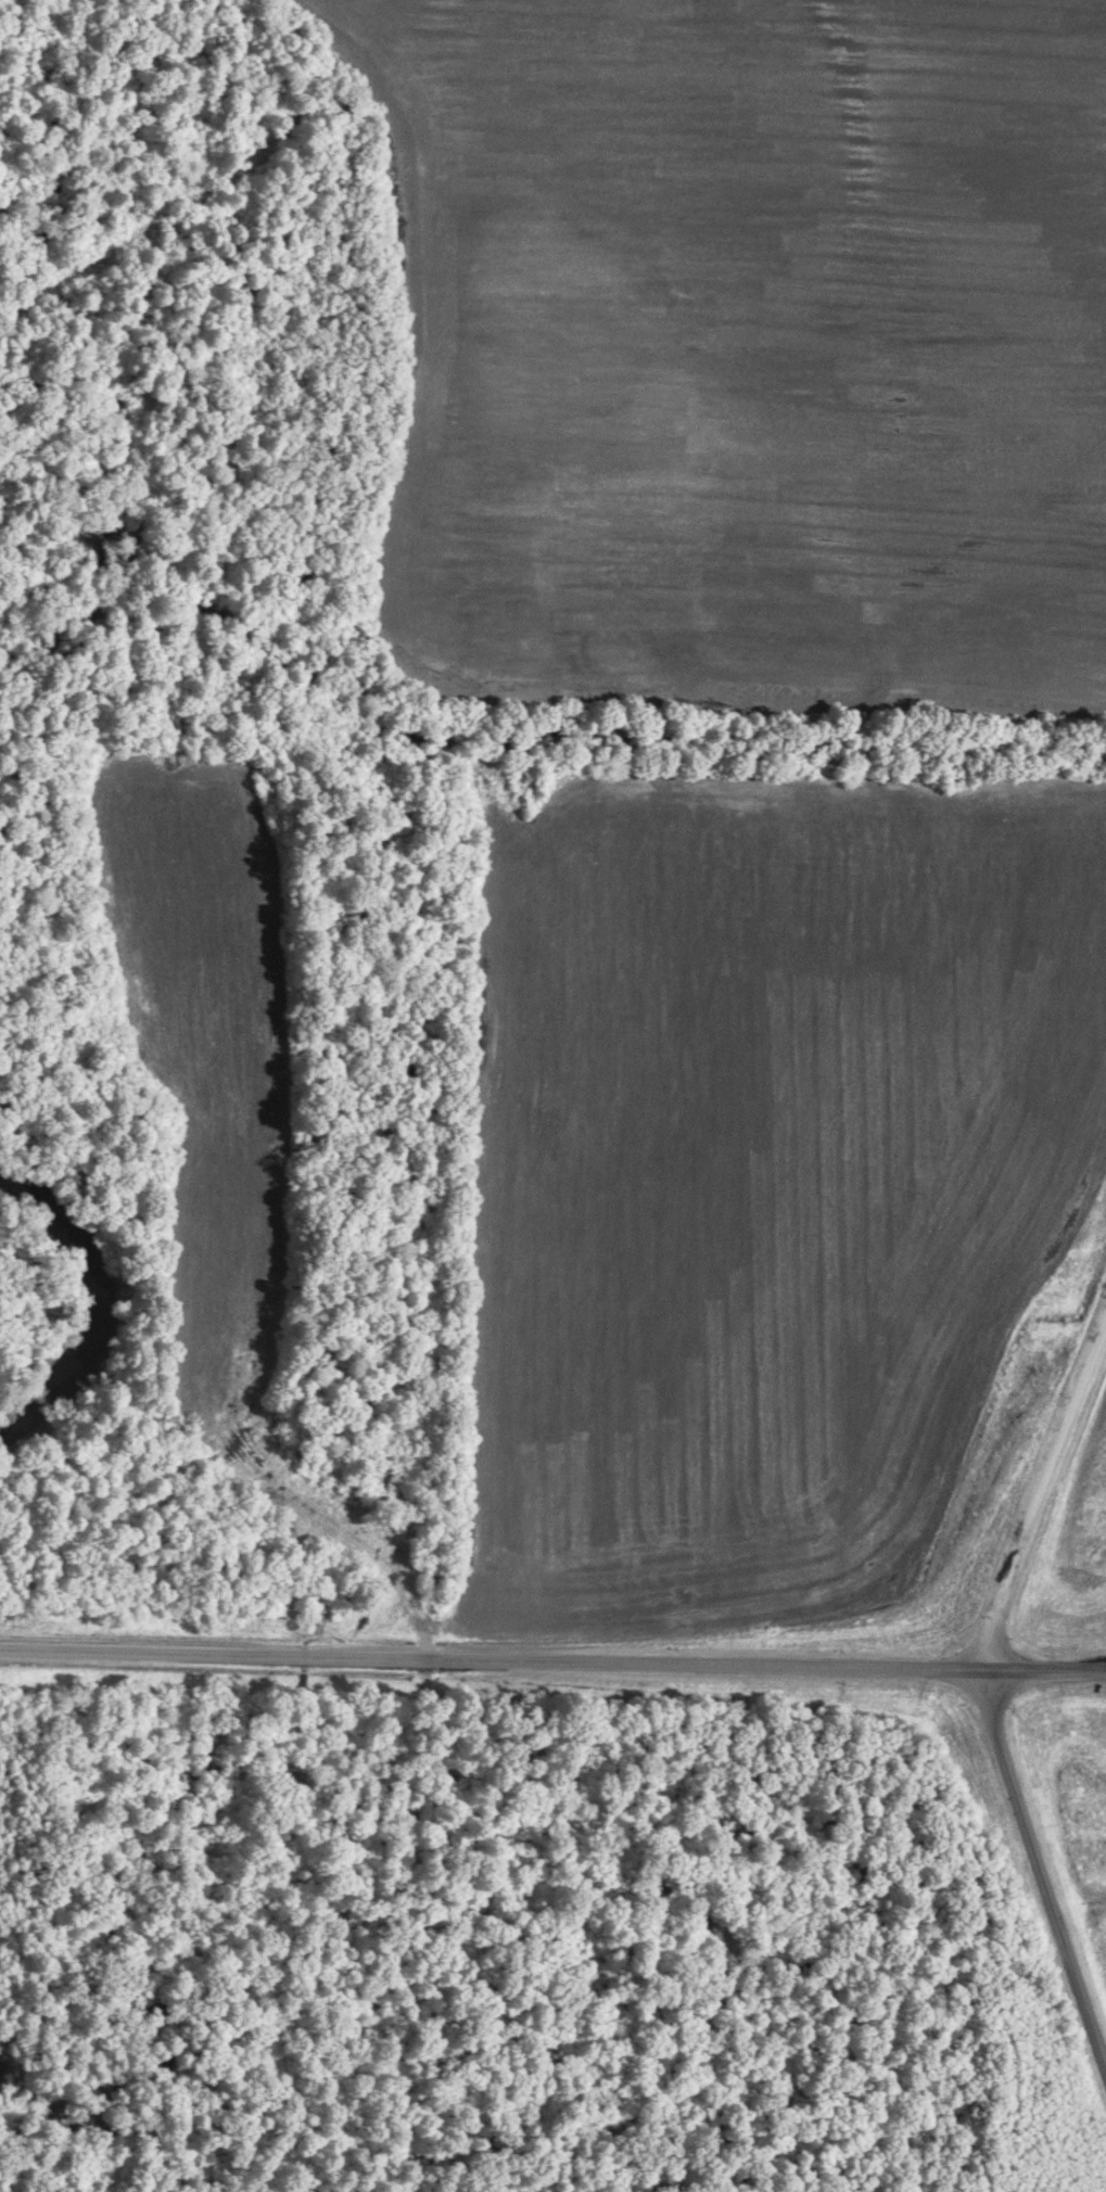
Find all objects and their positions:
river: (94, 1292)
road: (1040, 1498)
road: (552, 1665)
road: (1041, 1871)

